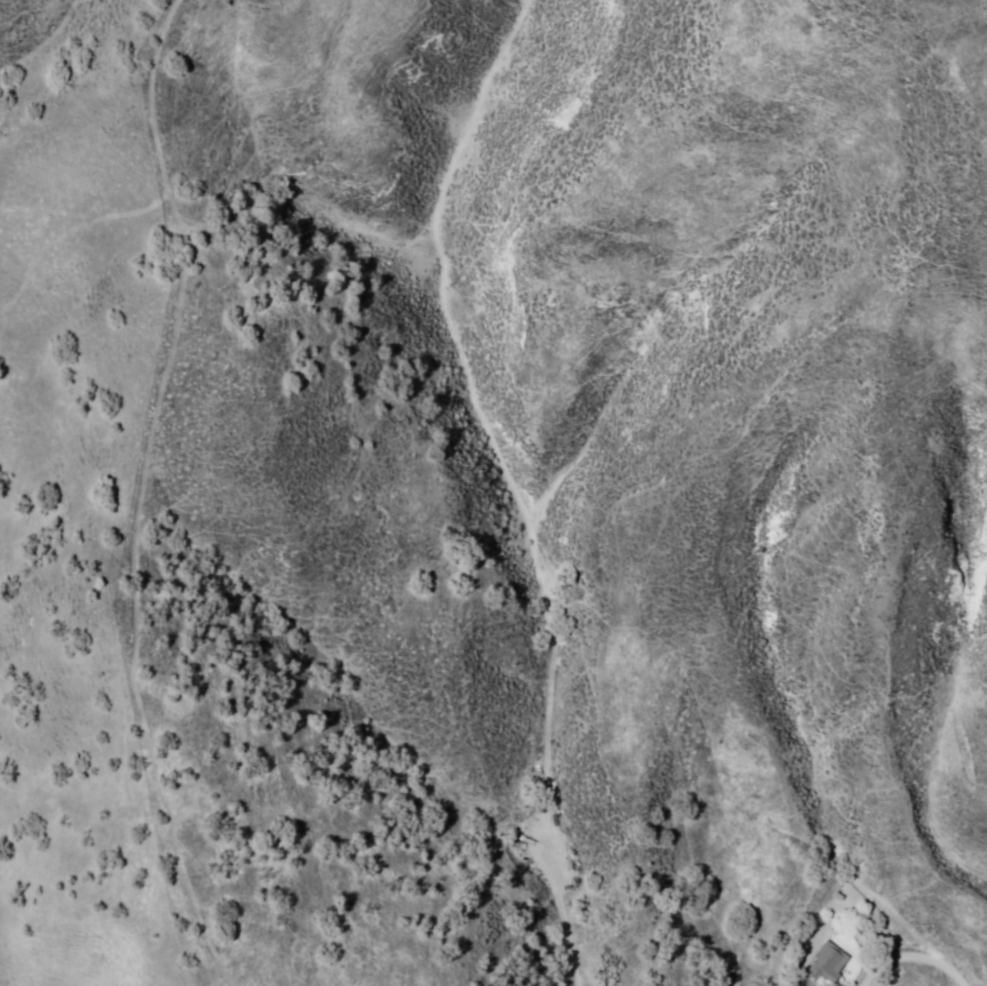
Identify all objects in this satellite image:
building: (825, 964)

